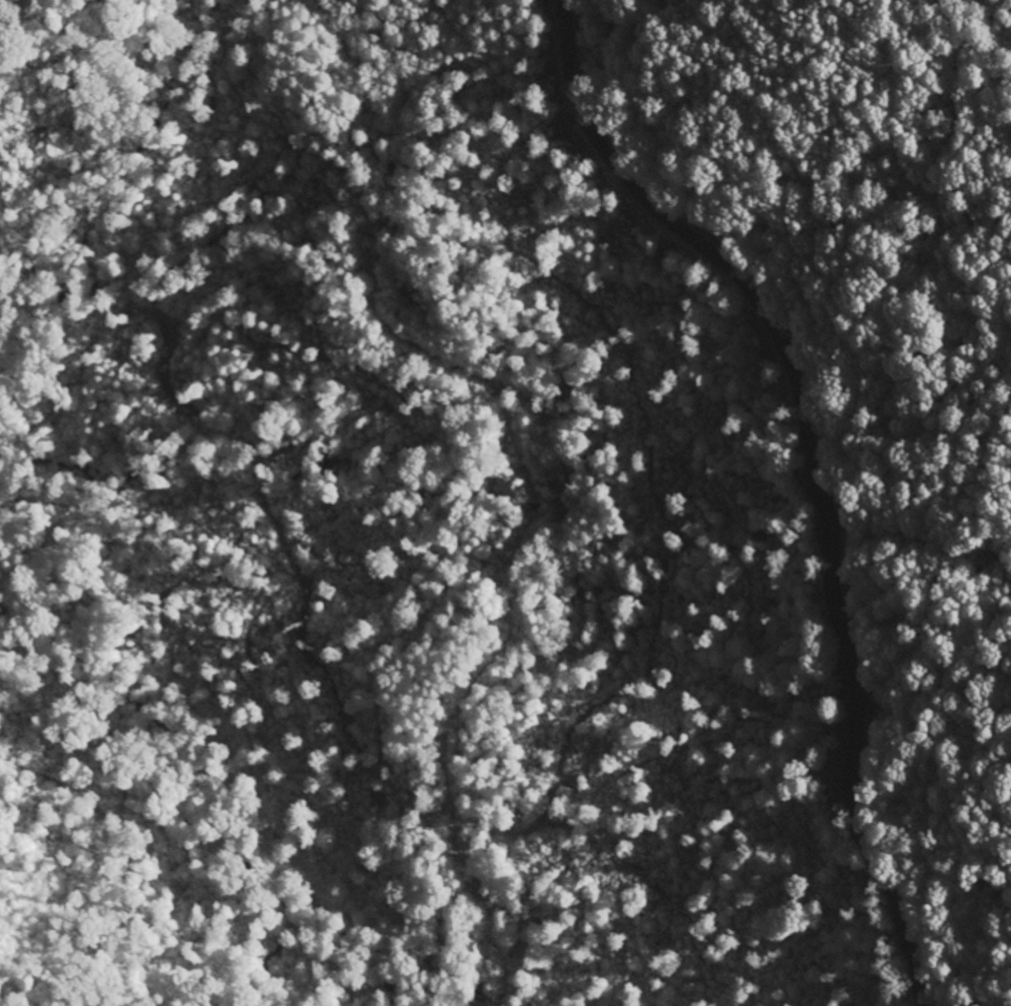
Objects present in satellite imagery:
road: (814, 469)

